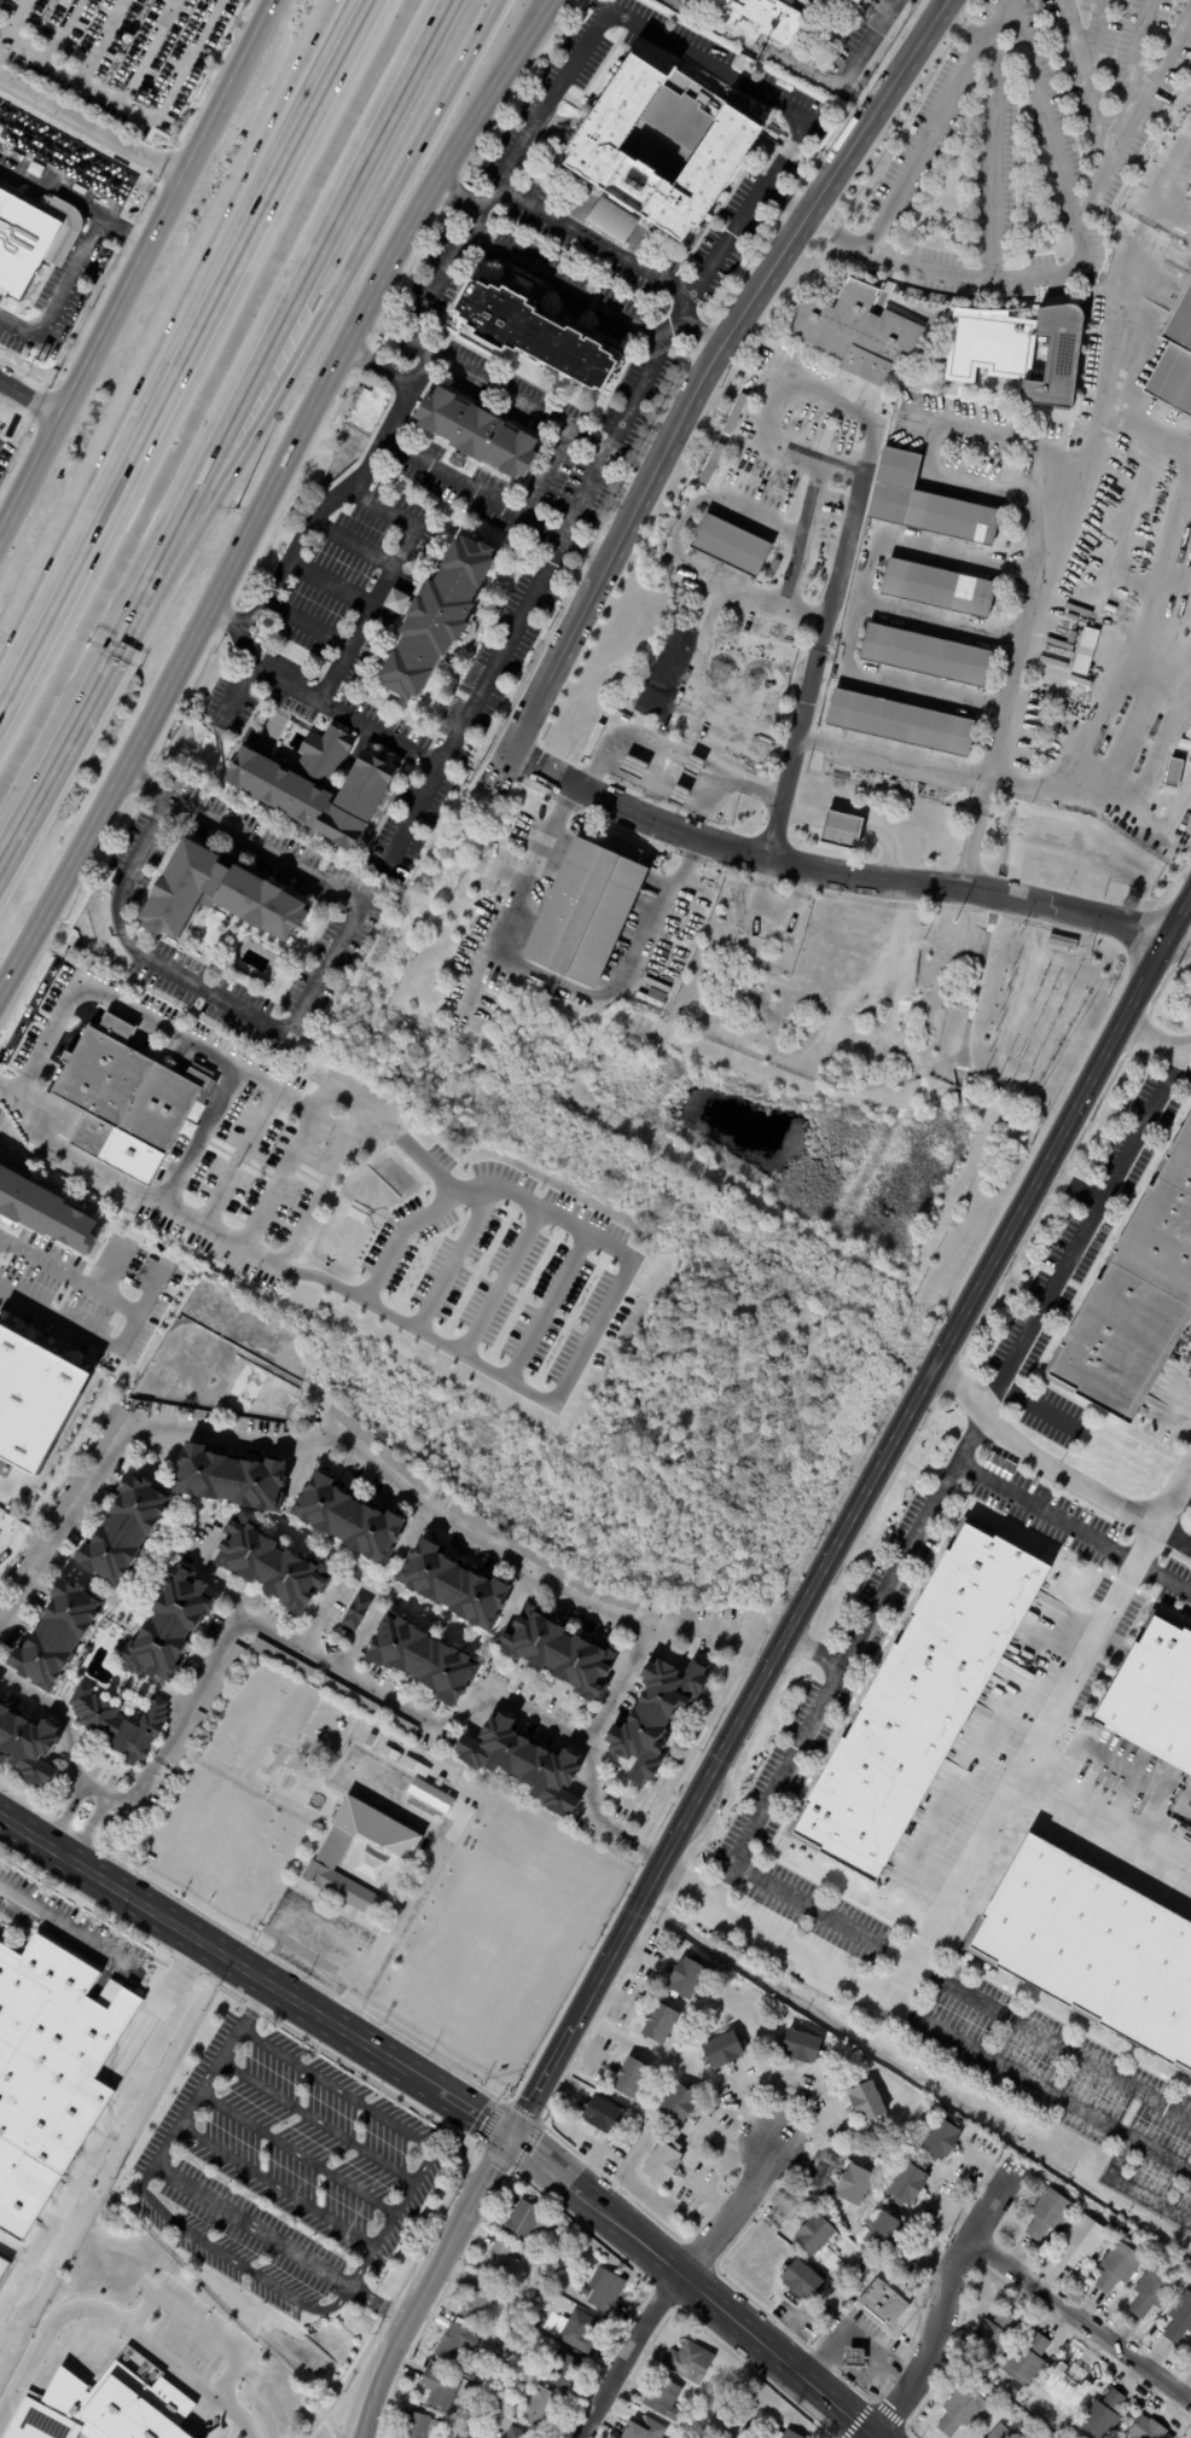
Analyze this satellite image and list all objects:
building: (860, 0)
building: (815, 1)
building: (868, 1)
road: (13, 18)
building: (762, 19)
road: (62, 29)
road: (1, 35)
road: (977, 35)
road: (1, 40)
road: (104, 40)
road: (147, 51)
road: (701, 60)
building: (745, 63)
road: (846, 76)
road: (135, 110)
road: (1042, 111)
road: (91, 124)
road: (920, 140)
building: (678, 145)
road: (6, 170)
road: (76, 196)
building: (611, 221)
building: (34, 242)
road: (1079, 262)
road: (136, 267)
road: (684, 300)
road: (60, 301)
road: (429, 302)
road: (279, 306)
road: (316, 312)
building: (1017, 313)
road: (168, 324)
road: (697, 330)
building: (856, 331)
building: (550, 333)
building: (784, 349)
building: (1018, 349)
road: (188, 358)
road: (708, 362)
building: (1174, 362)
road: (30, 405)
building: (736, 413)
road: (569, 429)
road: (980, 430)
building: (477, 433)
road: (1068, 451)
building: (457, 460)
building: (711, 463)
road: (847, 470)
road: (1004, 487)
road: (469, 489)
road: (267, 492)
building: (928, 504)
road: (331, 505)
road: (798, 535)
road: (349, 544)
building: (731, 545)
road: (963, 552)
building: (774, 567)
road: (790, 571)
road: (329, 581)
road: (379, 584)
building: (940, 588)
building: (396, 602)
building: (693, 613)
road: (308, 619)
building: (437, 620)
building: (720, 635)
building: (1071, 637)
building: (1059, 644)
road: (819, 652)
building: (928, 656)
building: (1055, 662)
building: (1080, 663)
building: (657, 681)
building: (1079, 684)
building: (646, 721)
building: (901, 724)
building: (1189, 735)
road: (64, 737)
road: (452, 741)
building: (592, 742)
road: (894, 756)
building: (693, 766)
building: (634, 767)
building: (1175, 773)
building: (326, 785)
road: (569, 793)
building: (679, 796)
road: (409, 819)
building: (842, 831)
road: (692, 852)
road: (829, 872)
building: (219, 895)
road: (515, 905)
building: (585, 915)
building: (1063, 942)
road: (1178, 945)
building: (783, 954)
road: (618, 985)
road: (303, 992)
building: (652, 998)
road: (106, 1002)
building: (546, 1004)
road: (1155, 1040)
building: (273, 1052)
building: (126, 1090)
road: (199, 1139)
road: (71, 1154)
road: (1120, 1154)
road: (237, 1159)
road: (286, 1167)
road: (331, 1179)
building: (52, 1209)
road: (400, 1236)
road: (453, 1259)
road: (111, 1267)
road: (70, 1275)
road: (500, 1282)
building: (1137, 1298)
road: (545, 1307)
road: (1041, 1310)
road: (592, 1330)
road: (101, 1337)
building: (353, 1426)
building: (108, 1436)
road: (350, 1455)
road: (881, 1458)
road: (1051, 1468)
building: (403, 1469)
building: (231, 1479)
road: (1185, 1494)
building: (68, 1497)
building: (348, 1519)
building: (475, 1520)
road: (1076, 1526)
building: (126, 1529)
building: (535, 1557)
building: (271, 1566)
building: (23, 1567)
building: (453, 1586)
building: (582, 1586)
building: (620, 1601)
building: (356, 1612)
building: (681, 1613)
road: (320, 1618)
building: (170, 1627)
building: (57, 1636)
building: (558, 1653)
road: (813, 1654)
building: (423, 1659)
road: (850, 1659)
building: (283, 1660)
building: (221, 1678)
building: (1154, 1696)
building: (350, 1697)
road: (393, 1699)
building: (919, 1703)
road: (53, 1707)
building: (655, 1717)
building: (118, 1724)
building: (400, 1726)
building: (332, 1734)
building: (187, 1738)
building: (370, 1740)
building: (28, 1747)
building: (391, 1754)
building: (523, 1763)
building: (414, 1766)
road: (75, 1774)
road: (127, 1794)
building: (429, 1795)
road: (68, 1815)
road: (1106, 1815)
road: (91, 1829)
road: (646, 1848)
building: (399, 1850)
road: (974, 1857)
road: (417, 1879)
road: (826, 1917)
road: (316, 1925)
road: (109, 1949)
road: (258, 1950)
road: (216, 1951)
building: (1092, 1952)
road: (315, 1956)
building: (686, 1976)
building: (660, 2022)
road: (1055, 2044)
building: (801, 2045)
building: (722, 2048)
building: (51, 2070)
building: (629, 2078)
road: (540, 2080)
road: (1045, 2089)
building: (867, 2100)
building: (676, 2105)
road: (471, 2112)
building: (603, 2113)
road: (316, 2121)
road: (402, 2130)
traffic signals: (509, 2136)
building: (942, 2138)
road: (94, 2148)
road: (297, 2154)
building: (662, 2161)
road: (542, 2164)
parking lot: (283, 2170)
road: (486, 2177)
building: (907, 2183)
road: (192, 2184)
building: (854, 2184)
road: (277, 2187)
building: (1048, 2213)
building: (524, 2222)
building: (1116, 2222)
building: (883, 2233)
building: (814, 2234)
building: (1082, 2240)
road: (12, 2252)
building: (1, 2256)
road: (228, 2259)
building: (552, 2259)
building: (499, 2260)
building: (1119, 2266)
building: (4, 2268)
building: (801, 2279)
road: (669, 2287)
building: (603, 2289)
building: (1154, 2291)
building: (546, 2298)
building: (477, 2301)
road: (940, 2303)
building: (883, 2304)
road: (725, 2315)
building: (1180, 2318)
road: (1080, 2320)
road: (402, 2324)
road: (197, 2326)
building: (579, 2330)
road: (45, 2335)
building: (993, 2335)
road: (856, 2340)
building: (907, 2340)
building: (455, 2343)
building: (855, 2357)
building: (690, 2361)
building: (1027, 2361)
building: (492, 2362)
building: (560, 2370)
road: (191, 2380)
building: (438, 2387)
building: (275, 2392)
building: (663, 2397)
building: (541, 2407)
building: (103, 2408)
building: (963, 2409)
building: (1103, 2415)
building: (680, 2425)
building: (419, 2426)
building: (1148, 2428)
building: (645, 2430)
building: (1001, 2432)
building: (518, 2433)
building: (791, 2434)
building: (728, 2436)
building: (1067, 2436)
building: (982, 2437)

